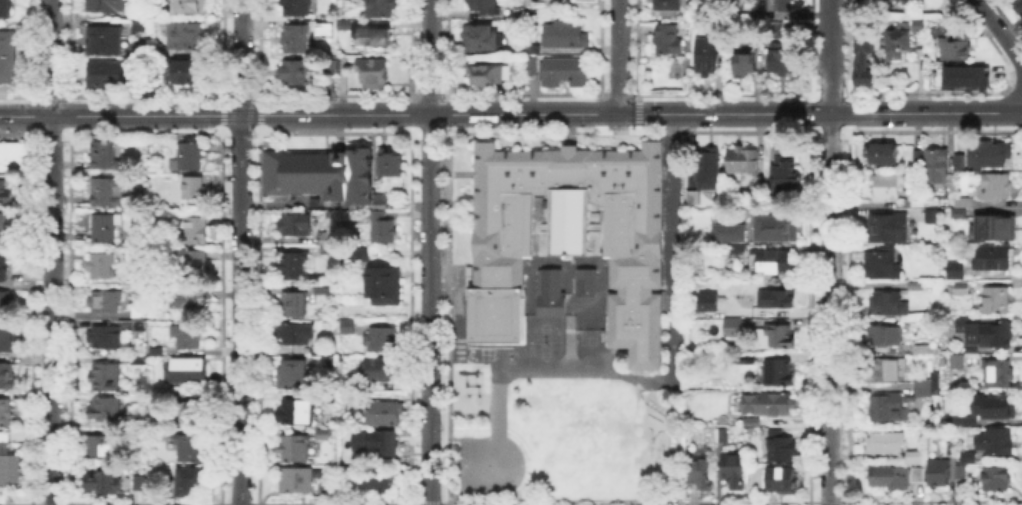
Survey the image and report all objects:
building: (154, 1)
building: (901, 1)
building: (906, 1)
building: (667, 3)
building: (780, 5)
building: (107, 6)
building: (485, 6)
building: (191, 7)
building: (1020, 7)
building: (296, 8)
building: (5, 9)
building: (380, 9)
building: (326, 24)
building: (345, 24)
building: (141, 26)
building: (918, 26)
building: (778, 27)
road: (1001, 32)
building: (565, 36)
building: (185, 37)
building: (296, 38)
building: (756, 39)
building: (377, 40)
building: (486, 40)
building: (668, 40)
building: (105, 42)
building: (898, 43)
building: (532, 47)
building: (956, 47)
building: (5, 57)
road: (240, 57)
road: (429, 57)
road: (619, 57)
building: (706, 59)
building: (782, 61)
building: (863, 61)
building: (532, 64)
building: (745, 67)
building: (295, 73)
building: (564, 74)
building: (186, 75)
building: (964, 75)
building: (374, 76)
building: (484, 76)
building: (107, 78)
building: (158, 81)
road: (726, 113)
road: (334, 114)
traffic signals: (591, 114)
traffic signals: (649, 114)
road: (120, 115)
building: (883, 155)
building: (103, 156)
building: (190, 158)
building: (987, 158)
building: (11, 159)
building: (387, 162)
building: (743, 162)
building: (961, 162)
building: (930, 168)
building: (708, 171)
building: (783, 172)
building: (319, 173)
building: (760, 182)
building: (886, 187)
building: (195, 188)
building: (995, 188)
building: (106, 193)
building: (5, 195)
building: (693, 198)
building: (377, 199)
parking lot: (671, 211)
building: (967, 213)
building: (931, 216)
building: (296, 225)
building: (778, 227)
building: (992, 227)
building: (4, 229)
building: (104, 229)
building: (888, 229)
building: (384, 230)
building: (725, 230)
building: (197, 231)
building: (326, 236)
building: (567, 236)
building: (327, 250)
building: (739, 250)
road: (670, 251)
road: (50, 252)
road: (829, 252)
building: (357, 253)
building: (994, 259)
building: (771, 261)
building: (194, 265)
building: (880, 265)
building: (101, 266)
building: (295, 269)
building: (956, 269)
building: (4, 270)
building: (583, 281)
building: (916, 285)
building: (384, 286)
building: (323, 287)
building: (962, 288)
building: (548, 291)
building: (773, 297)
building: (705, 301)
building: (997, 301)
building: (6, 303)
building: (106, 303)
building: (186, 303)
building: (888, 304)
building: (289, 305)
road: (429, 309)
road: (240, 310)
building: (139, 316)
building: (347, 326)
building: (134, 328)
building: (734, 328)
building: (295, 335)
building: (996, 335)
building: (186, 336)
building: (881, 337)
building: (7, 338)
building: (106, 338)
building: (775, 338)
building: (382, 341)
building: (320, 355)
building: (748, 358)
building: (957, 360)
building: (314, 369)
building: (381, 370)
building: (188, 371)
building: (887, 371)
building: (292, 375)
building: (780, 375)
building: (999, 375)
building: (7, 377)
building: (107, 378)
building: (923, 388)
building: (775, 405)
building: (887, 408)
building: (1000, 408)
building: (106, 411)
building: (297, 413)
building: (6, 414)
building: (384, 415)
building: (190, 416)
building: (961, 419)
building: (752, 421)
building: (724, 433)
building: (324, 437)
building: (996, 441)
building: (885, 442)
building: (387, 445)
building: (783, 447)
building: (101, 449)
building: (190, 450)
building: (294, 450)
building: (915, 455)
building: (969, 456)
building: (10, 466)
building: (734, 471)
building: (961, 471)
building: (914, 472)
building: (702, 475)
building: (886, 475)
building: (938, 475)
building: (999, 480)
building: (781, 481)
building: (189, 482)
building: (298, 482)
building: (374, 482)
building: (102, 484)
building: (140, 485)

